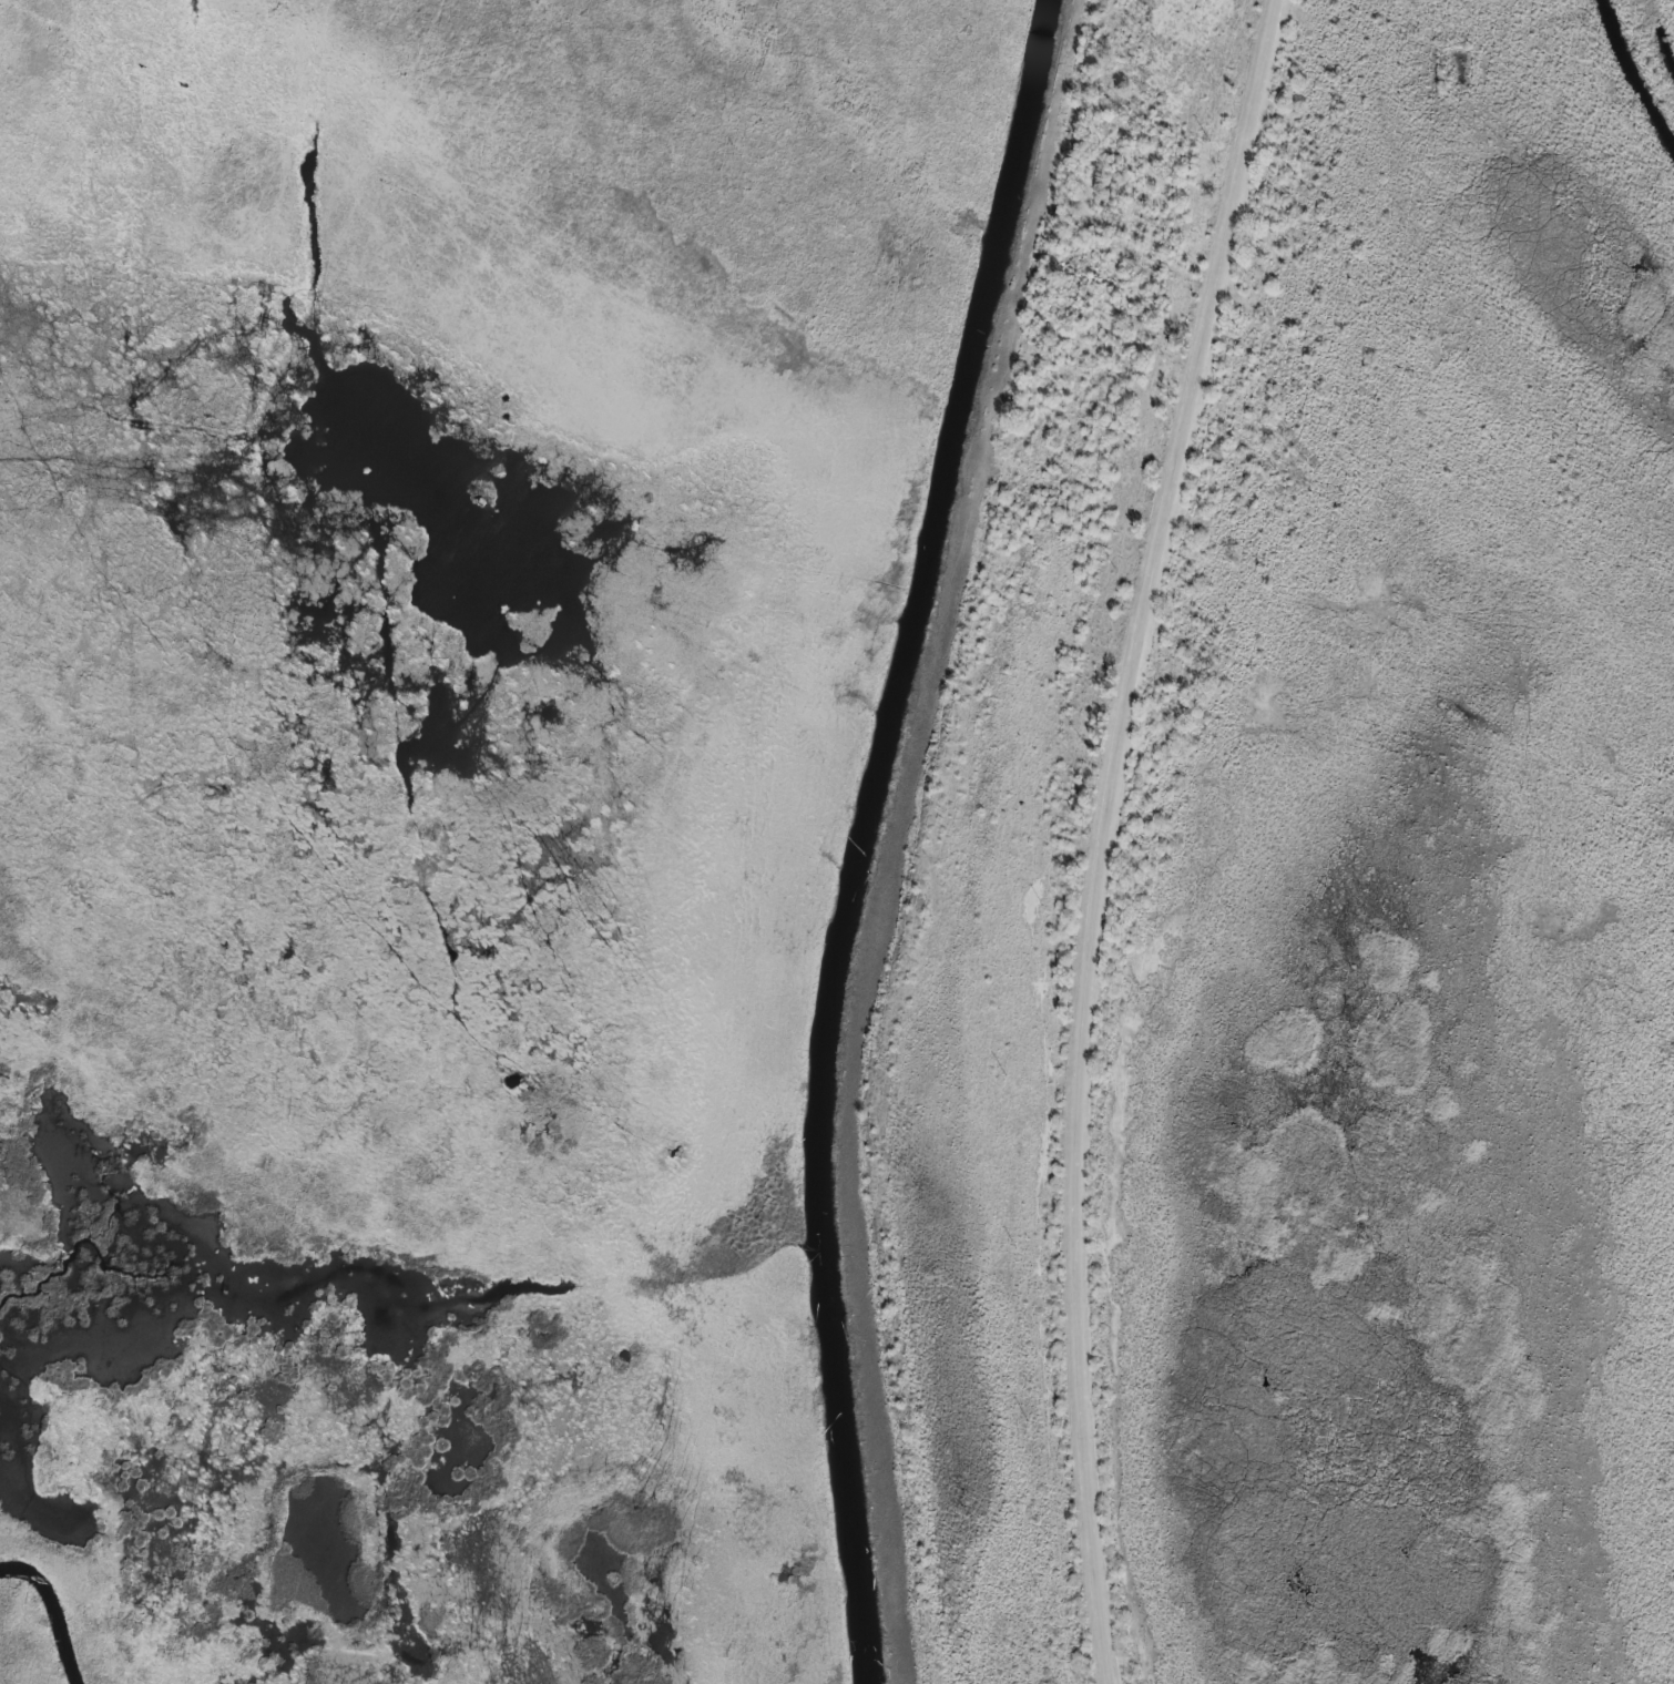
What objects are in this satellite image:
road: (1110, 834)

